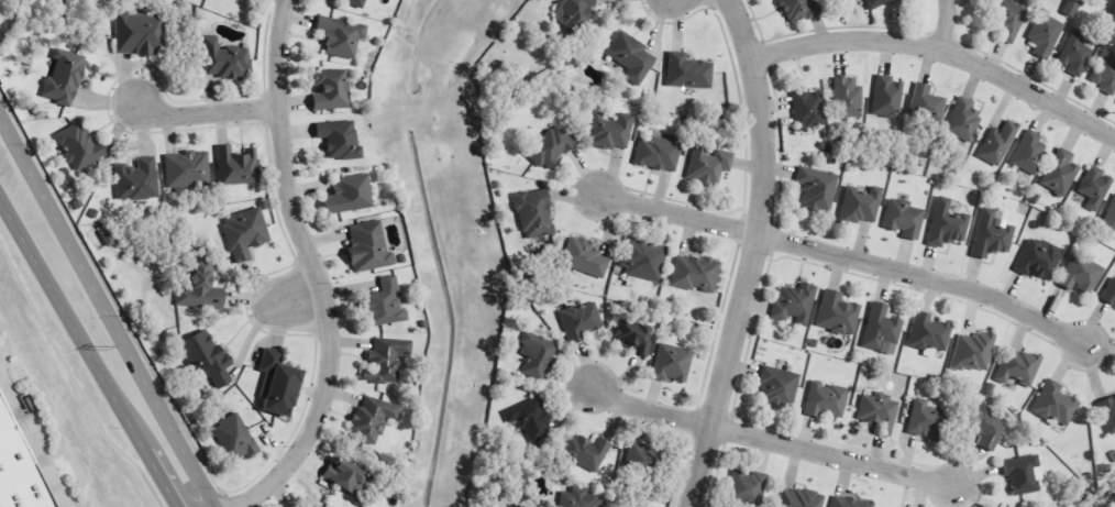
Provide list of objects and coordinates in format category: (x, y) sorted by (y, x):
building: (225, 0)
building: (354, 2)
building: (876, 3)
building: (796, 10)
building: (573, 13)
road: (752, 20)
building: (1008, 22)
road: (945, 24)
building: (139, 33)
building: (1045, 34)
building: (339, 36)
road: (940, 49)
building: (1074, 54)
building: (630, 56)
building: (224, 59)
building: (687, 71)
building: (1105, 73)
building: (64, 77)
building: (331, 89)
building: (886, 97)
building: (847, 98)
building: (926, 102)
building: (807, 109)
road: (206, 111)
building: (963, 119)
building: (610, 131)
building: (339, 139)
building: (997, 143)
building: (79, 146)
building: (549, 146)
building: (659, 152)
building: (1029, 152)
building: (707, 164)
building: (238, 165)
building: (186, 168)
building: (1060, 173)
building: (136, 179)
building: (1095, 187)
building: (817, 188)
building: (349, 194)
building: (861, 203)
building: (533, 213)
road: (677, 214)
building: (1111, 216)
building: (903, 218)
building: (946, 222)
building: (244, 232)
building: (992, 234)
building: (367, 247)
road: (752, 254)
building: (584, 257)
building: (642, 258)
building: (1038, 258)
road: (313, 271)
building: (694, 273)
building: (1081, 274)
road: (925, 275)
building: (199, 285)
building: (1110, 291)
road: (303, 298)
building: (794, 302)
building: (383, 305)
building: (837, 312)
road: (106, 313)
building: (581, 320)
building: (880, 327)
building: (928, 333)
building: (633, 337)
power tower: (104, 349)
building: (973, 350)
road: (88, 354)
building: (537, 355)
building: (206, 356)
building: (671, 363)
building: (1017, 366)
building: (278, 384)
building: (777, 385)
building: (825, 399)
building: (1055, 404)
building: (1107, 411)
building: (879, 412)
building: (372, 418)
building: (529, 418)
building: (927, 418)
building: (985, 427)
building: (236, 438)
road: (772, 439)
building: (585, 452)
building: (642, 456)
building: (18, 471)
building: (1023, 474)
building: (344, 475)
building: (746, 486)
building: (579, 498)
building: (799, 498)
building: (848, 502)
building: (518, 505)

